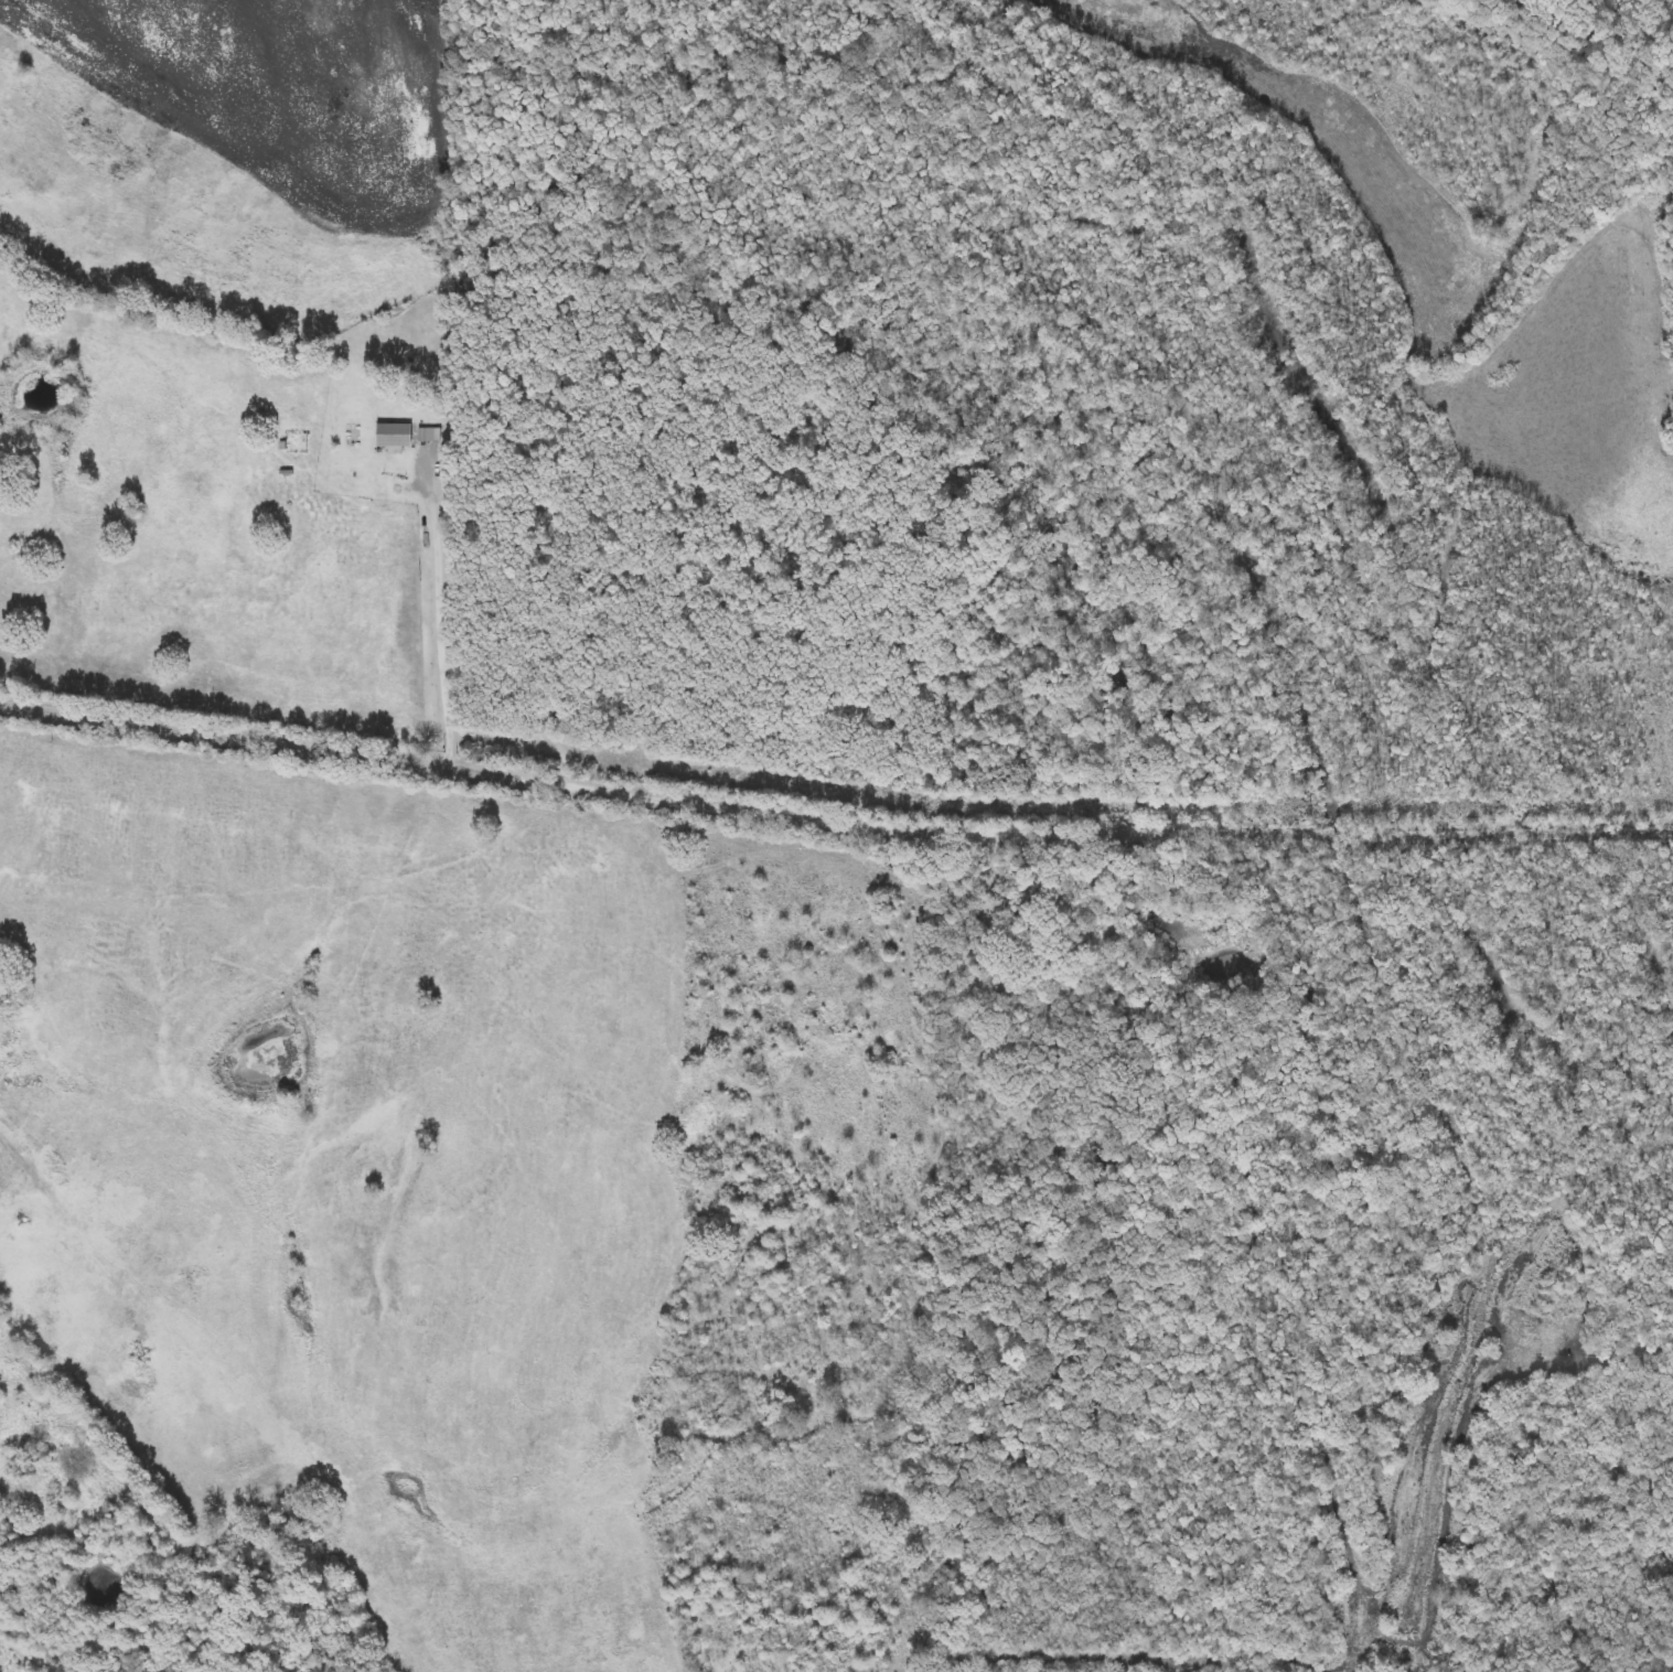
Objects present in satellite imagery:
building: (394, 437)
road: (444, 609)
building: (564, 717)
road: (541, 778)
road: (1380, 827)
road: (171, 1326)

